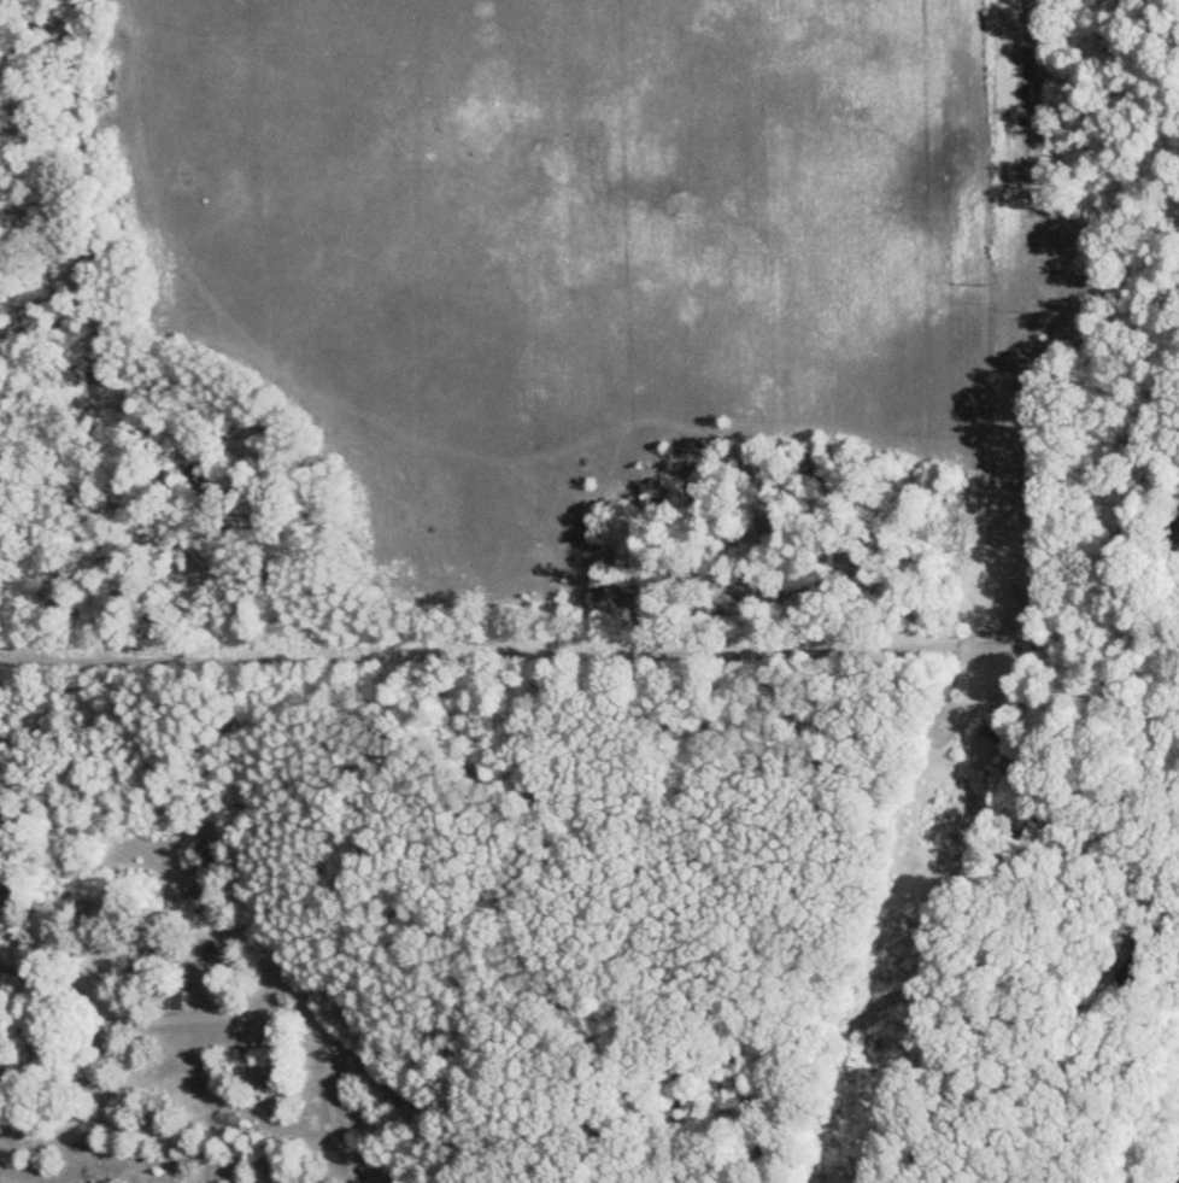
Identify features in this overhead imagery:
road: (533, 1135)

